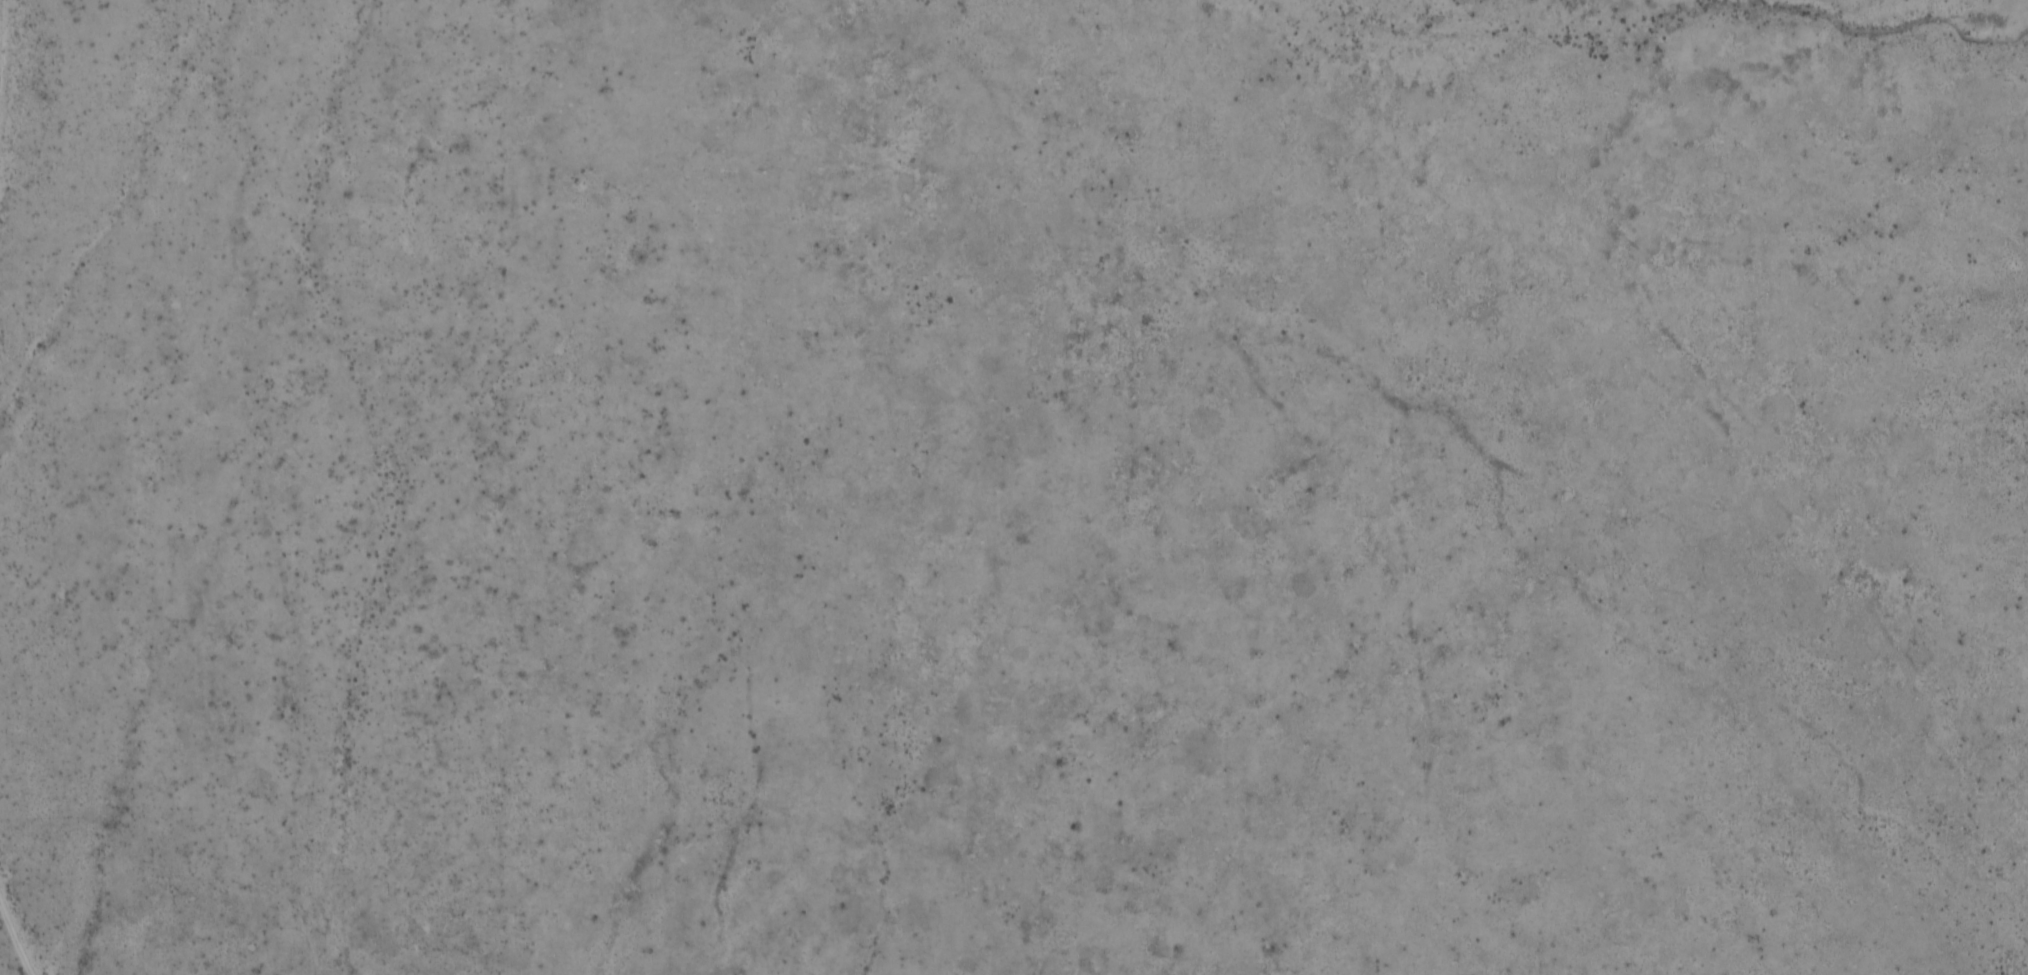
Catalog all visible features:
road: (8, 45)
road: (14, 937)

